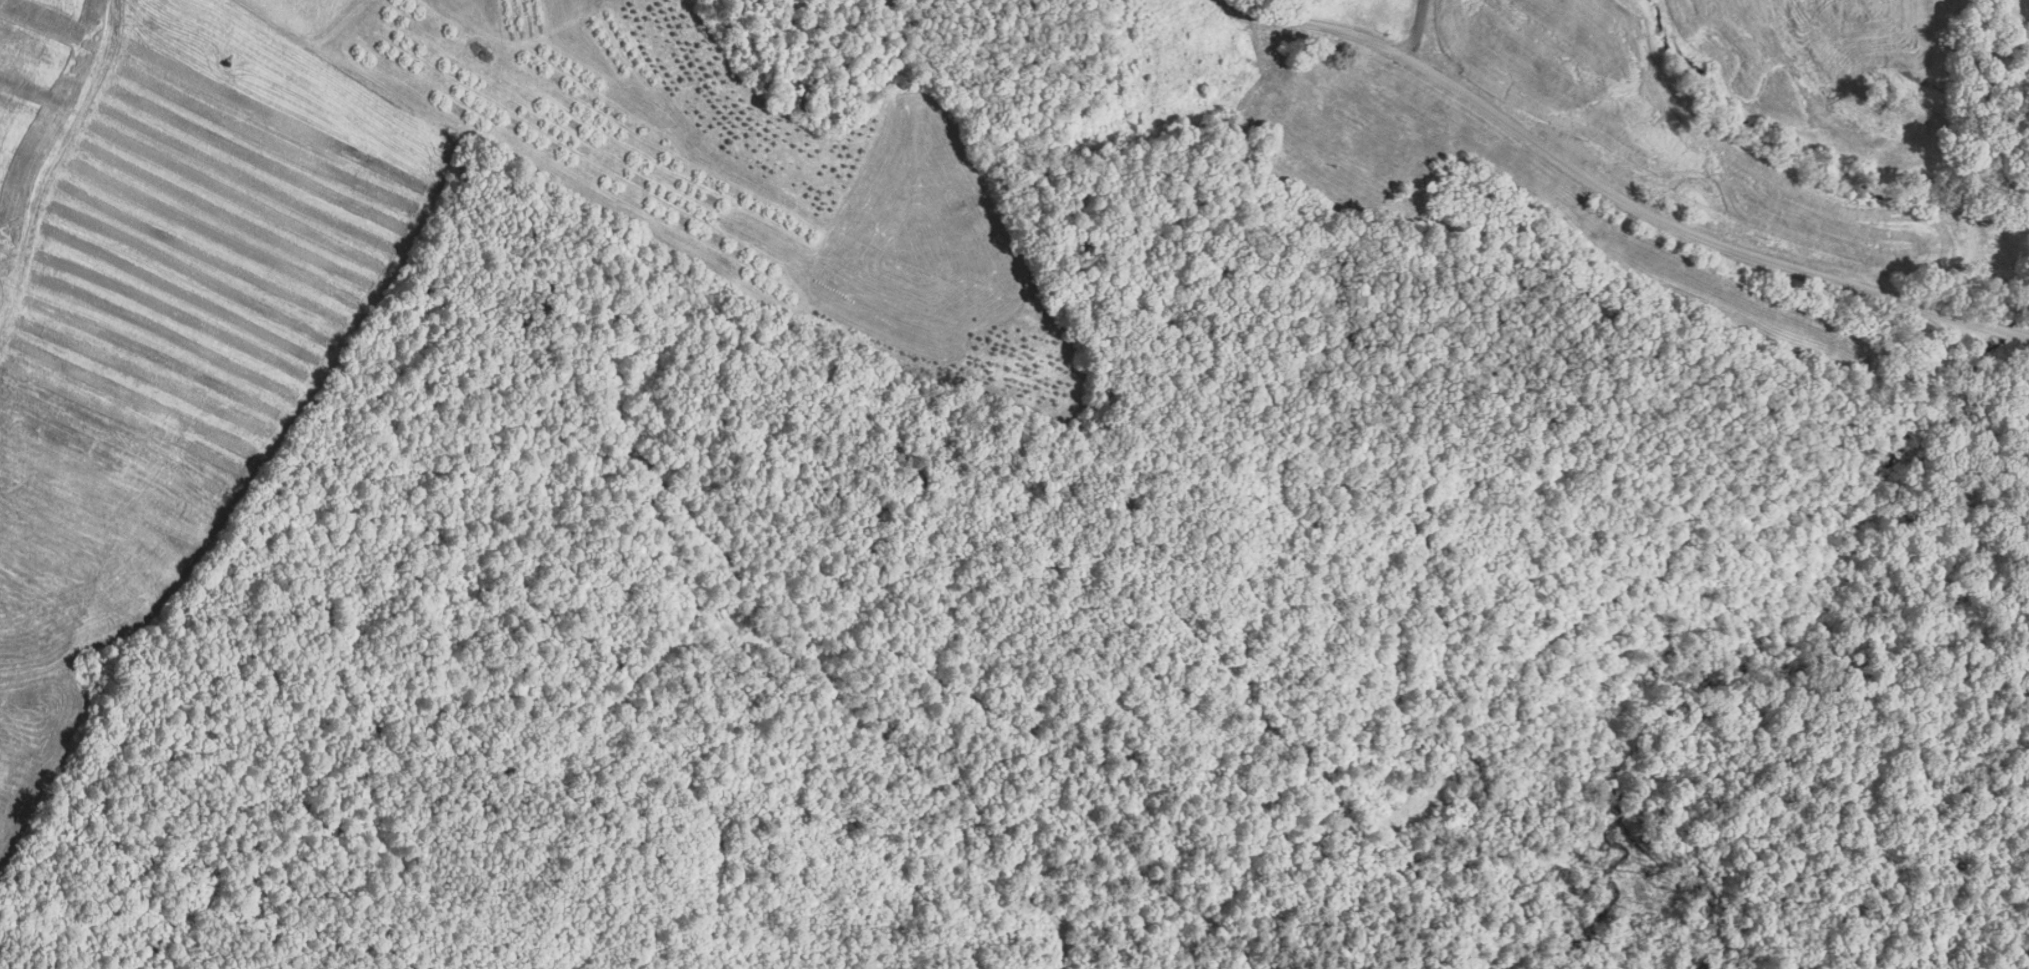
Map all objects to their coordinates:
road: (1418, 28)
road: (102, 70)
road: (1629, 205)

